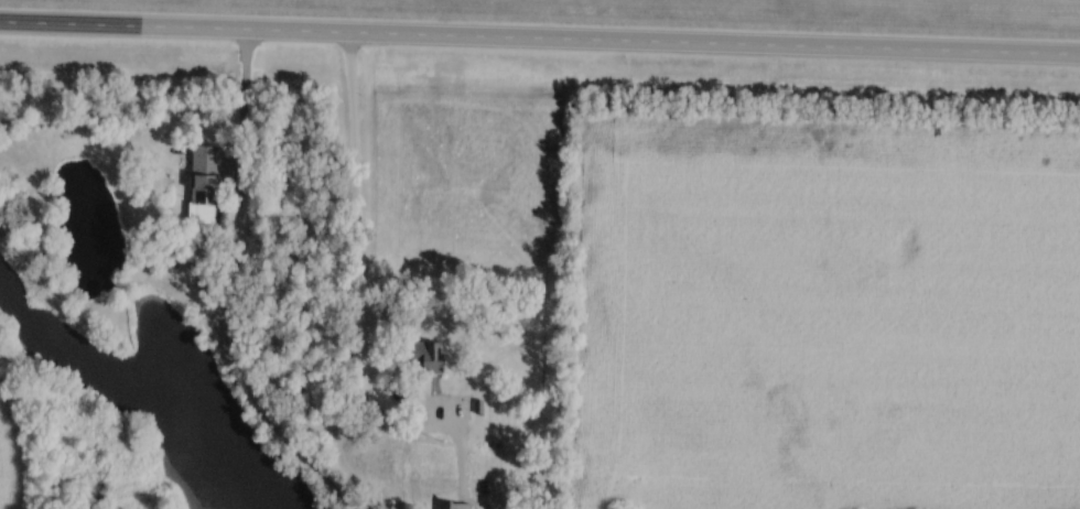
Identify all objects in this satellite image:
road: (540, 40)
building: (208, 186)
road: (355, 261)
road: (238, 291)
building: (435, 360)
building: (458, 506)

